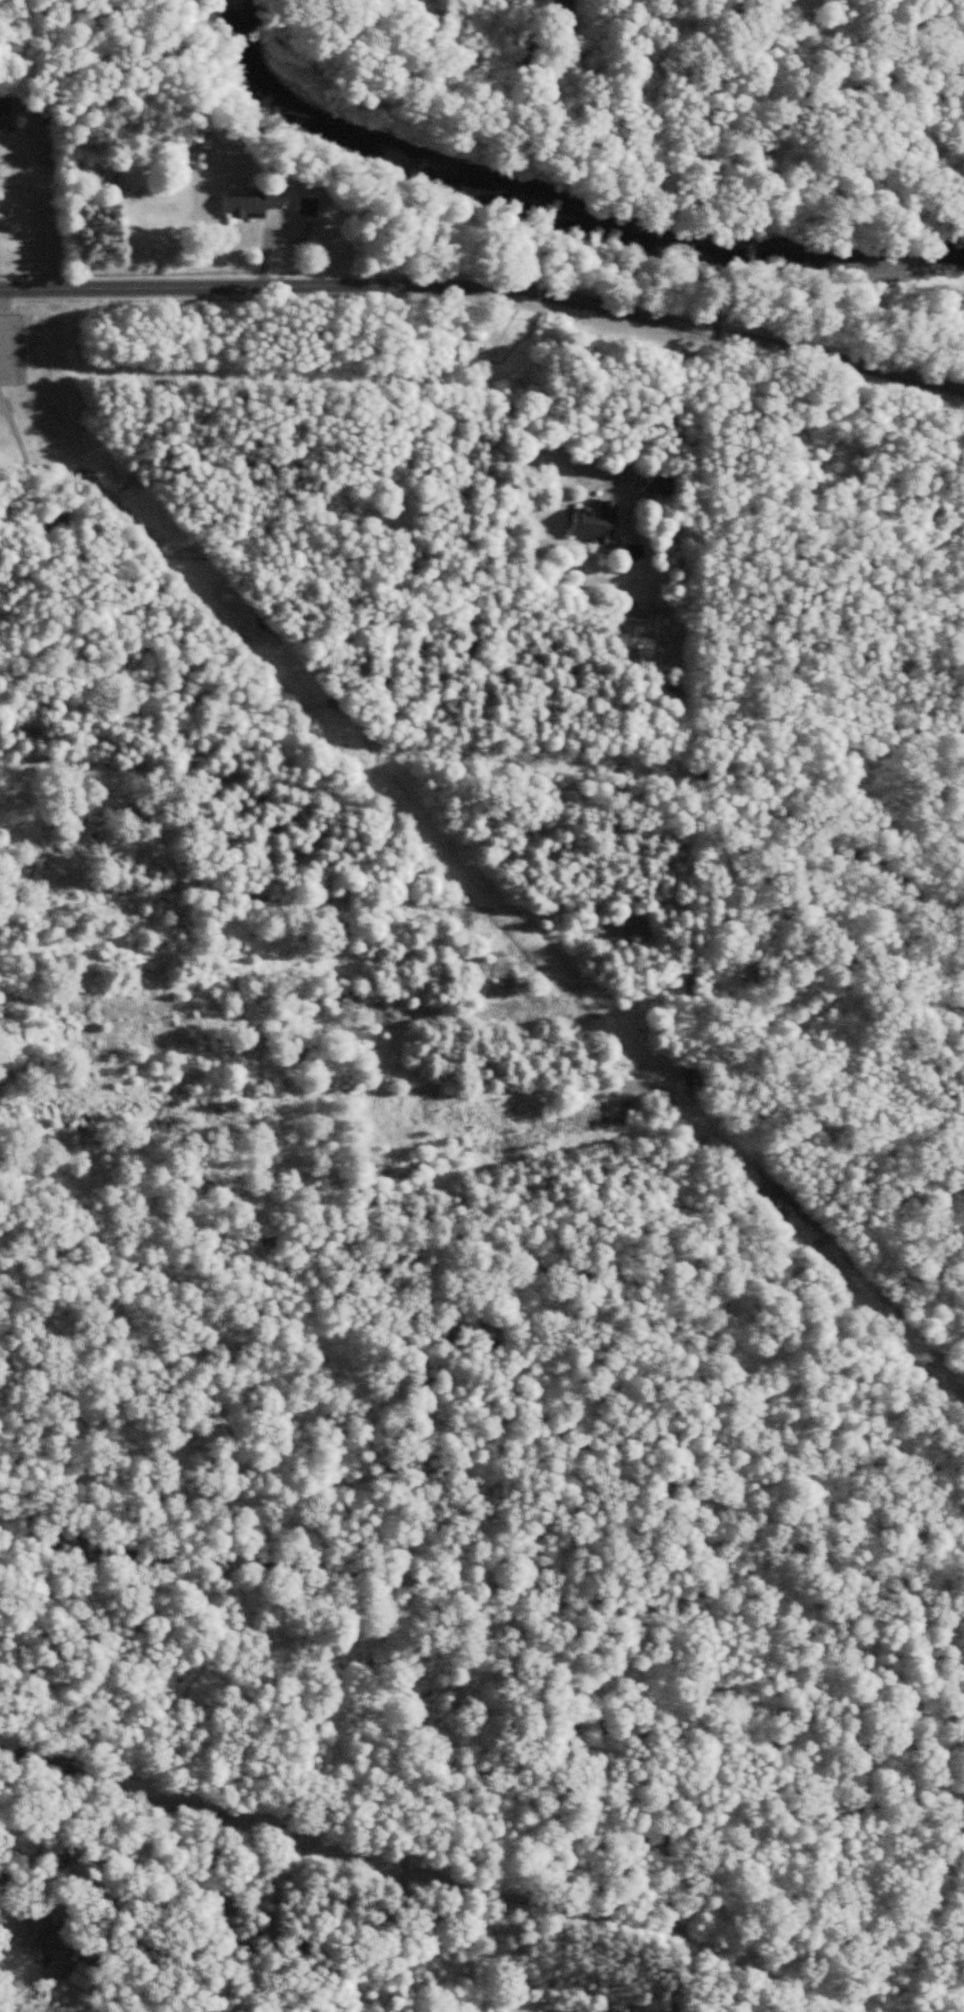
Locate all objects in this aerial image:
building: (5, 111)
river: (596, 183)
building: (257, 204)
building: (313, 209)
road: (487, 295)
building: (662, 484)
building: (597, 524)

